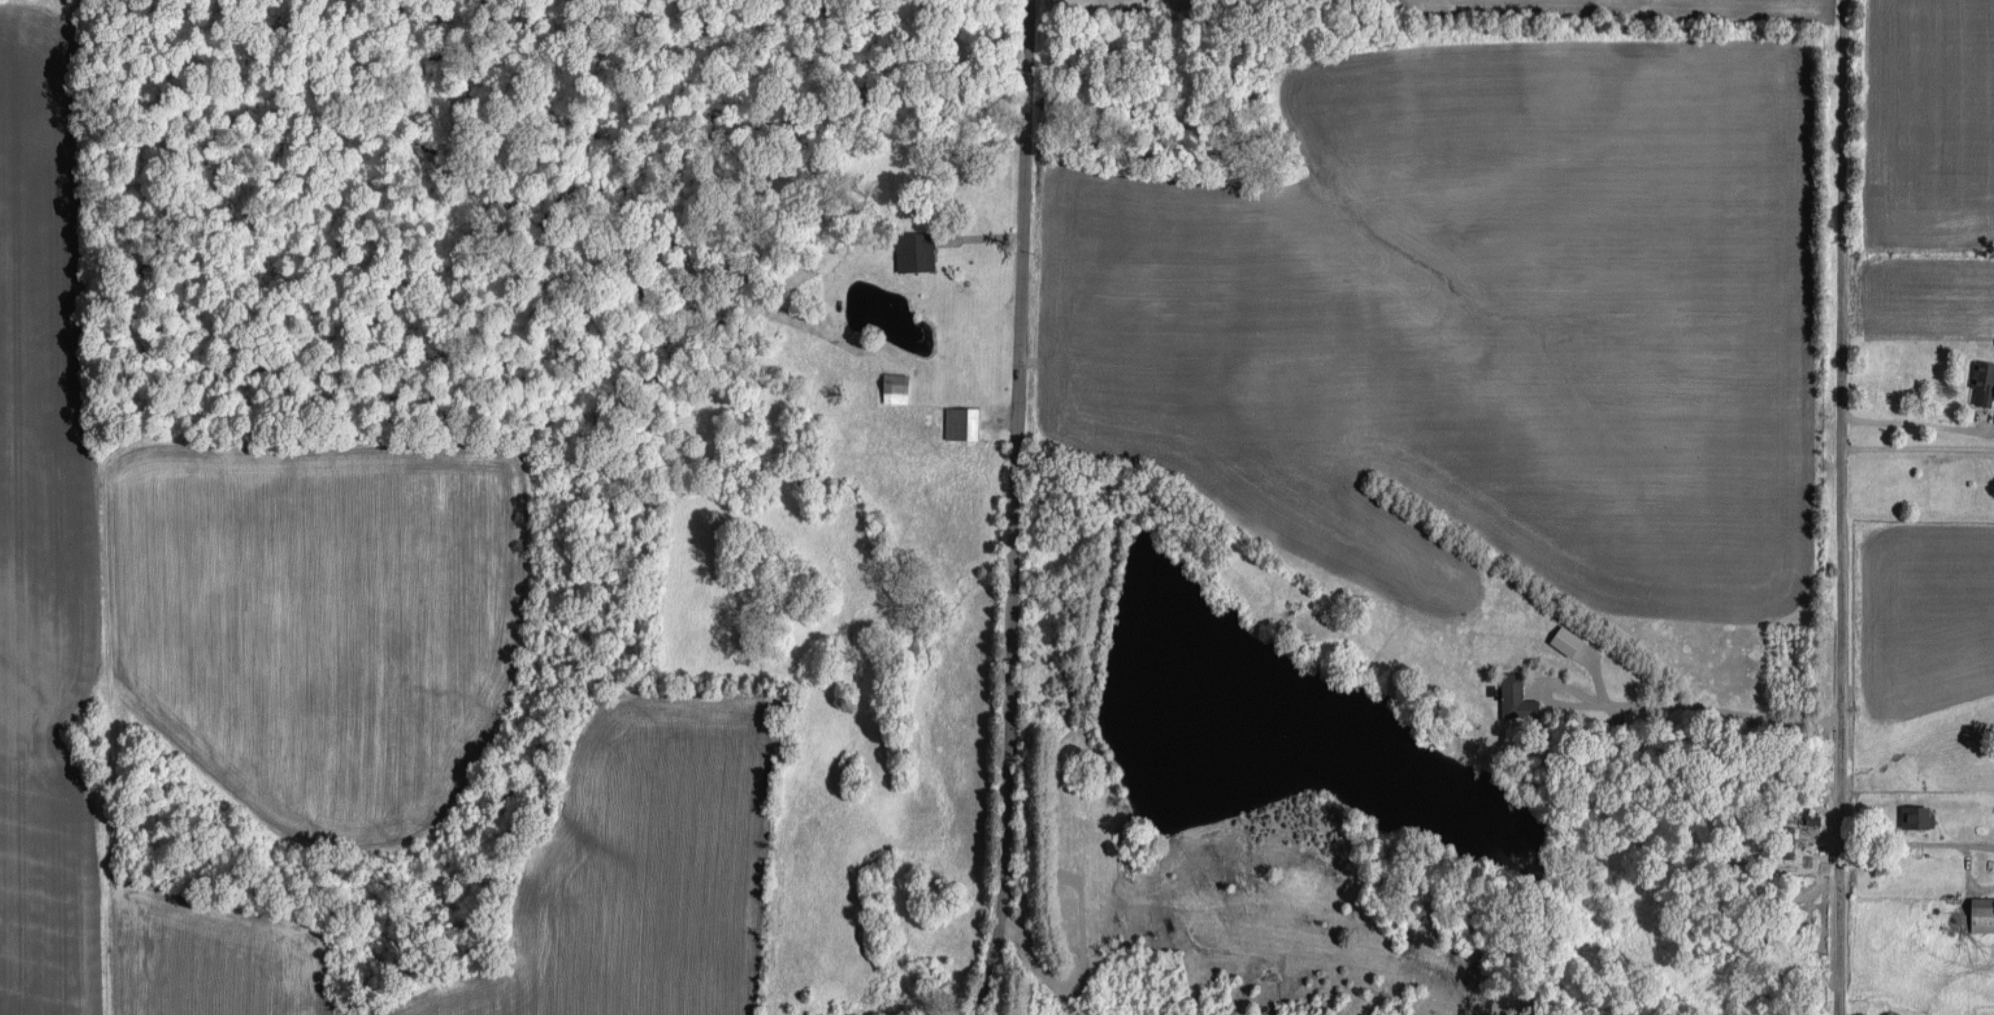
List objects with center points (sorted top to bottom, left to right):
building: (917, 251)
building: (1984, 382)
building: (899, 386)
road: (1918, 421)
building: (964, 423)
road: (1918, 443)
road: (1841, 507)
road: (1009, 508)
building: (1568, 640)
building: (1518, 697)
road: (1551, 706)
road: (1719, 712)
building: (1919, 815)
road: (1915, 842)
building: (1983, 913)

